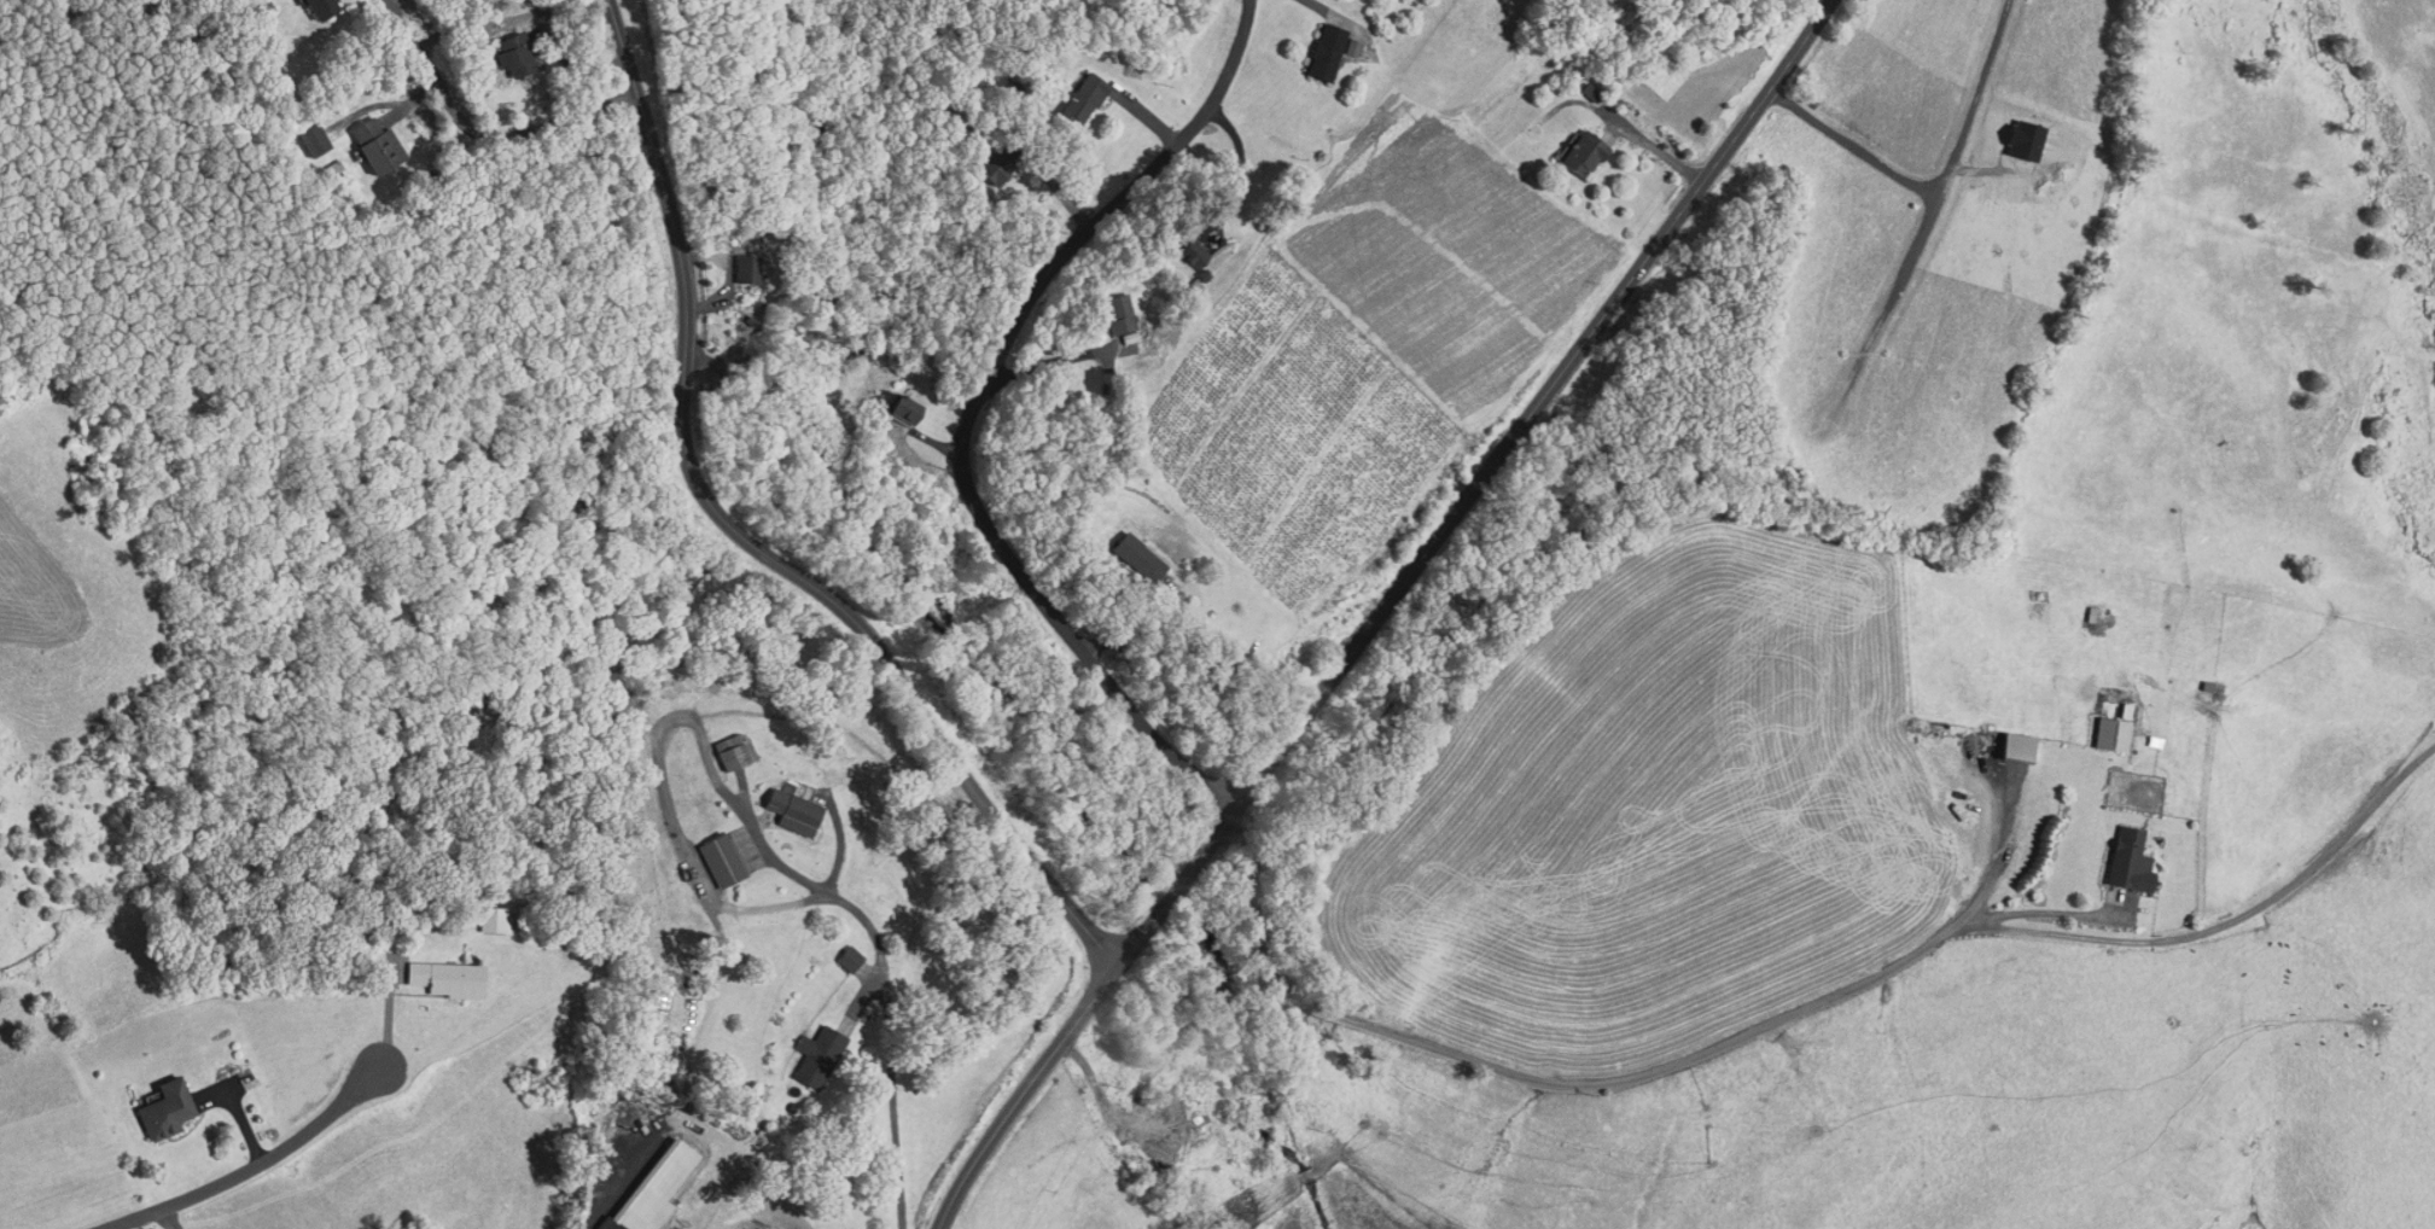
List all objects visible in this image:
building: (324, 7)
building: (1330, 49)
building: (517, 53)
building: (1590, 92)
building: (1087, 94)
road: (478, 129)
building: (311, 136)
building: (378, 144)
building: (1585, 150)
building: (998, 162)
road: (1939, 190)
building: (1196, 250)
building: (747, 267)
road: (1895, 284)
building: (1123, 314)
building: (905, 407)
road: (979, 410)
road: (1527, 417)
road: (747, 537)
building: (1142, 558)
building: (2115, 730)
building: (735, 749)
building: (792, 806)
building: (722, 857)
building: (2133, 858)
road: (1181, 886)
building: (496, 918)
building: (851, 957)
building: (452, 975)
road: (887, 989)
road: (1799, 1007)
building: (821, 1053)
road: (1032, 1079)
building: (171, 1111)
road: (256, 1161)
road: (168, 1219)
building: (610, 1224)

